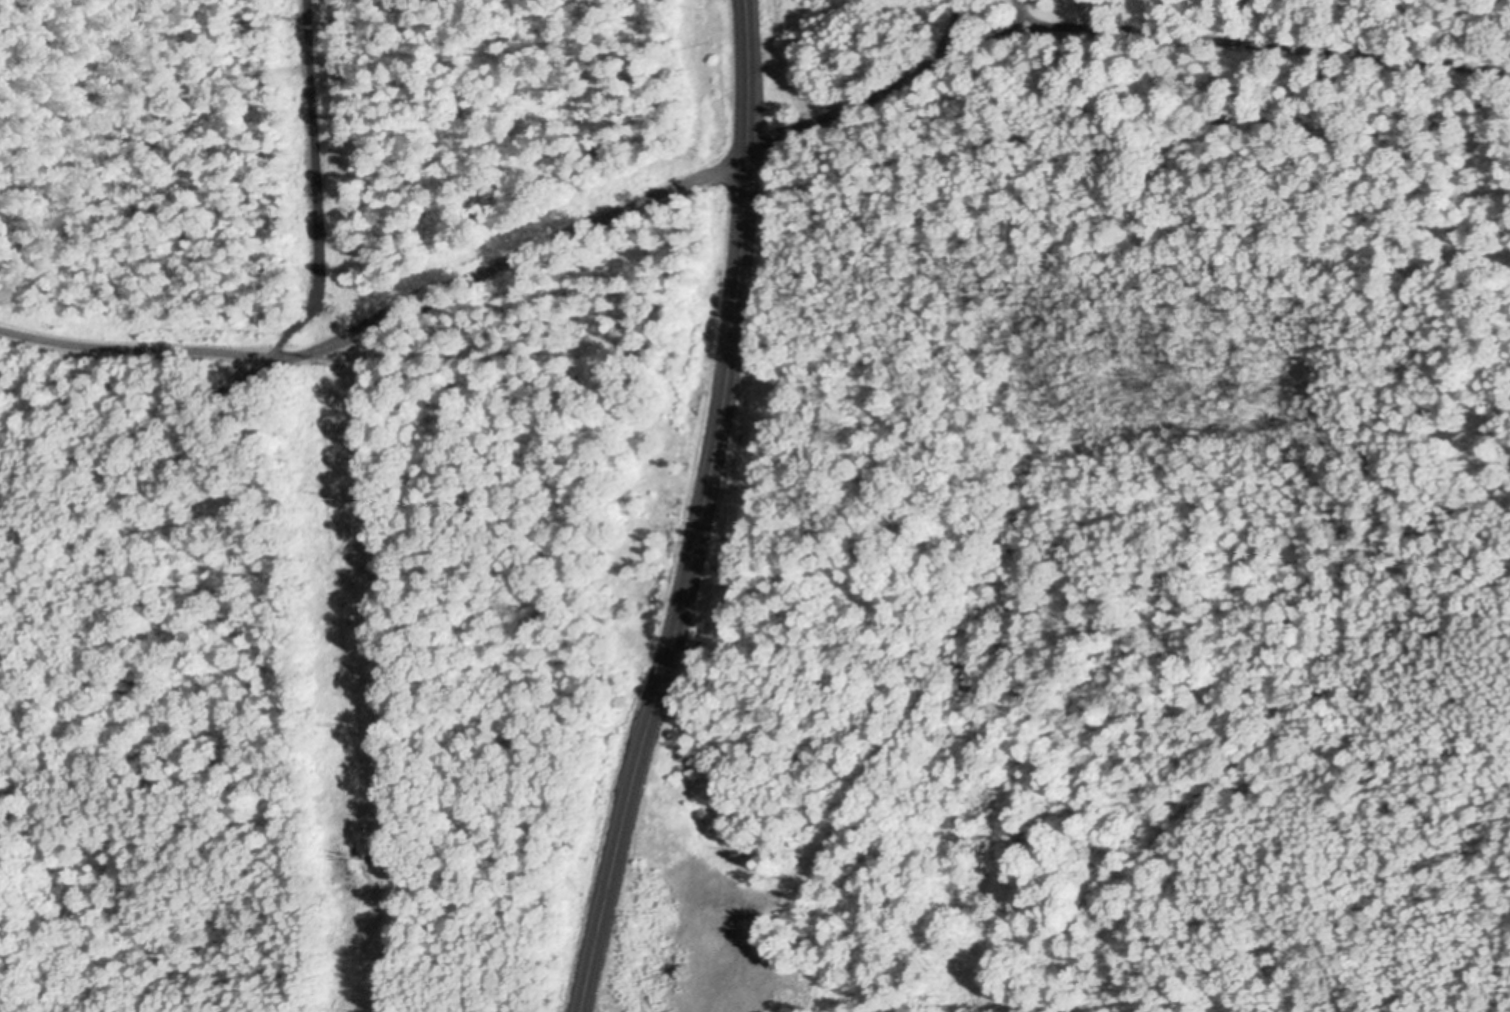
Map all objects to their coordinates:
road: (1019, 14)
road: (1118, 31)
road: (952, 32)
road: (314, 187)
road: (383, 315)
road: (35, 395)
road: (695, 509)
road: (1018, 553)

